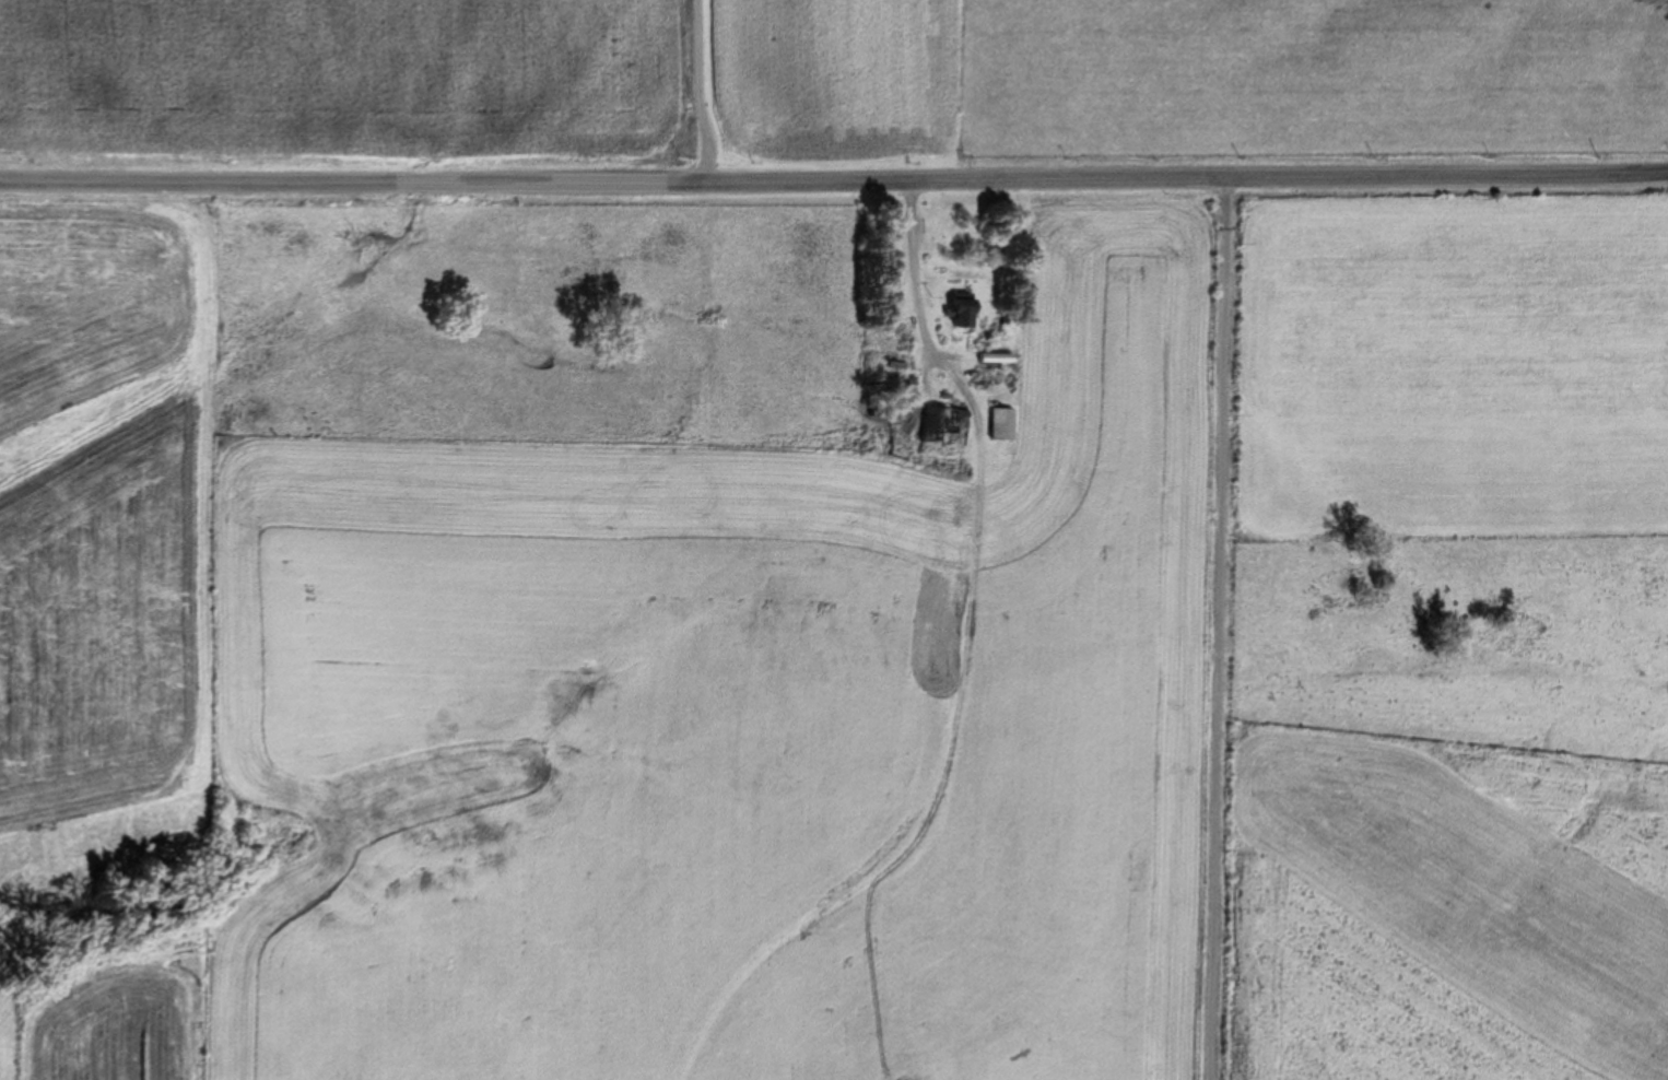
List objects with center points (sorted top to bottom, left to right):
road: (707, 94)
road: (833, 186)
road: (911, 287)
building: (966, 309)
building: (951, 314)
building: (986, 357)
building: (1005, 423)
building: (989, 424)
building: (936, 427)
road: (1214, 629)

